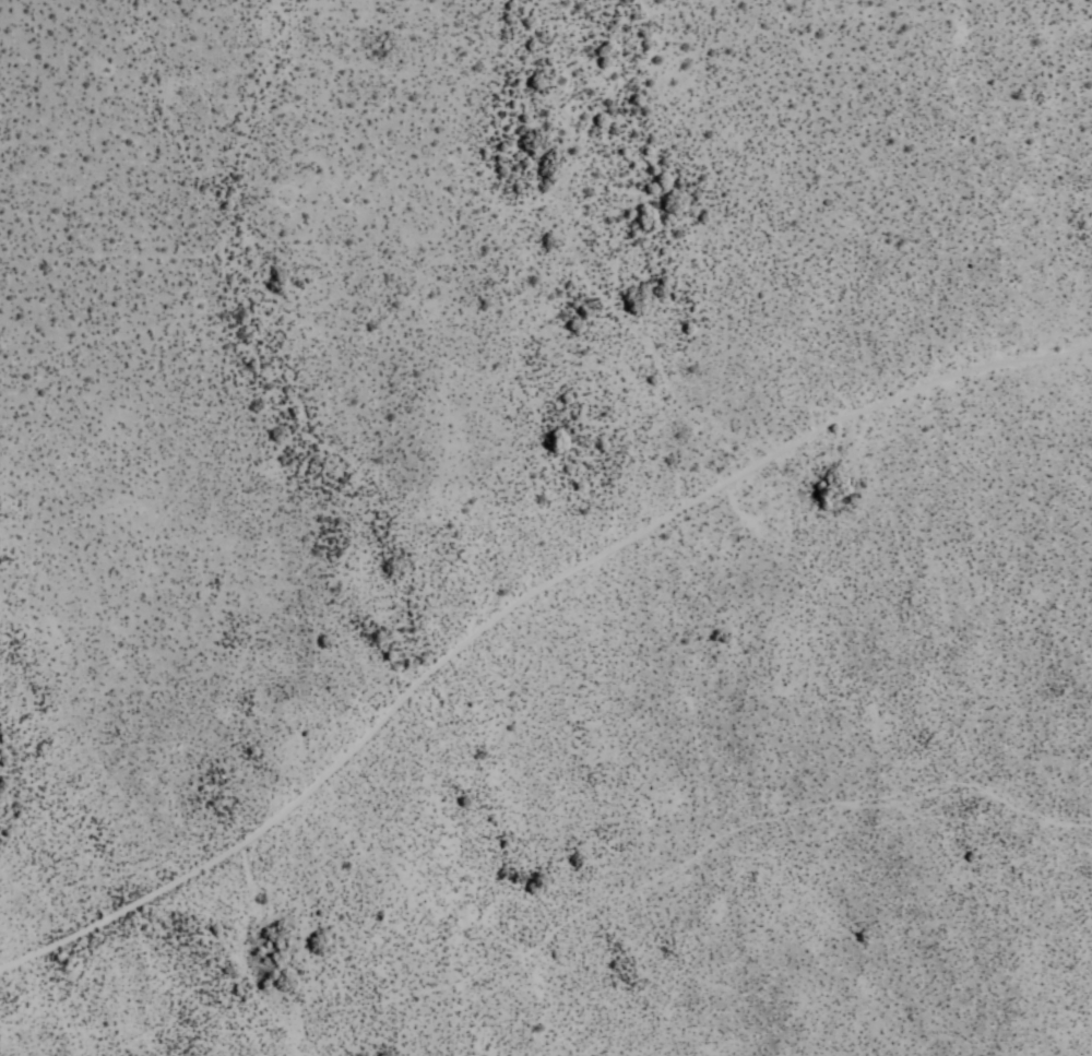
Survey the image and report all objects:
road: (517, 603)

